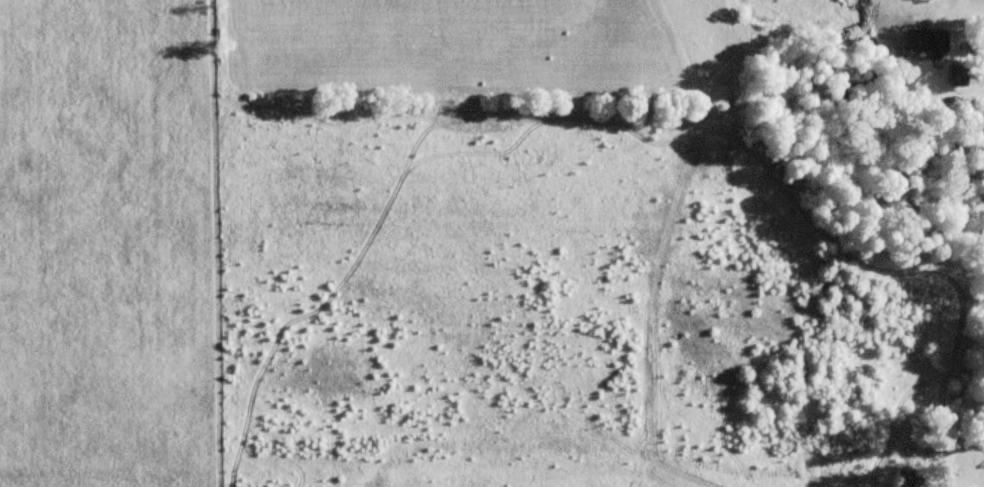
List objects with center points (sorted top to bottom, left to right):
building: (928, 43)

